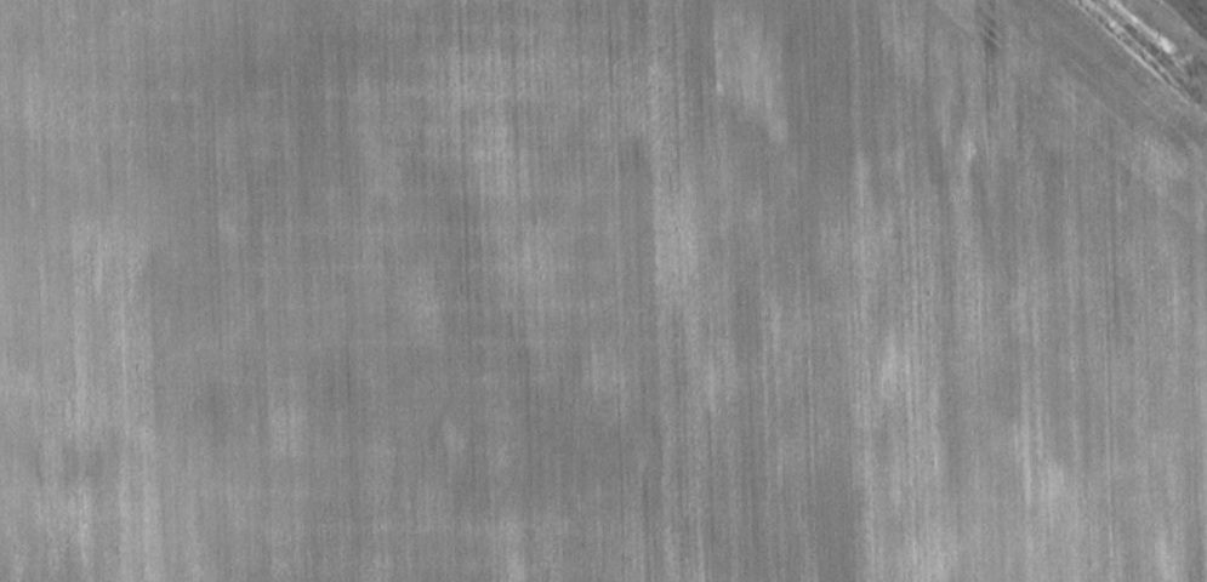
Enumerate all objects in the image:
road: (1190, 13)
railway: (1145, 52)
crop: (593, 295)

